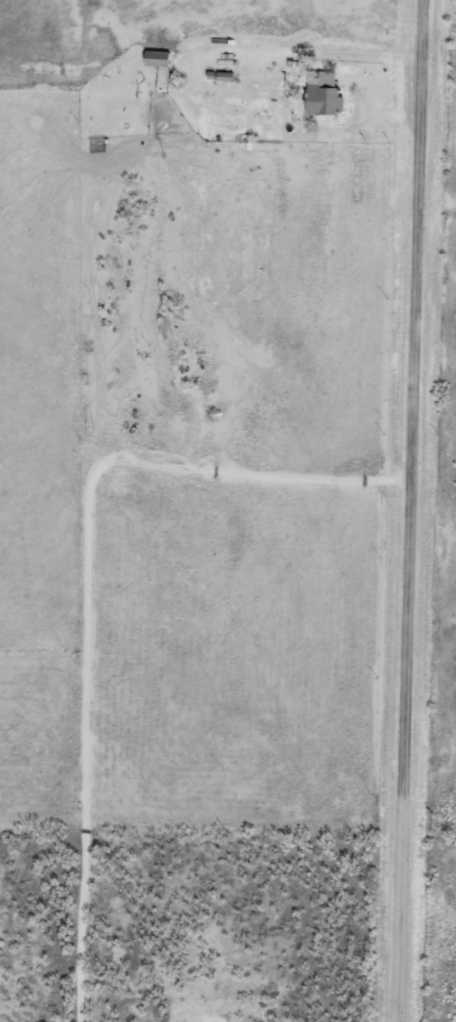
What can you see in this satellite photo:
road: (434, 4)
road: (411, 510)
road: (104, 623)

